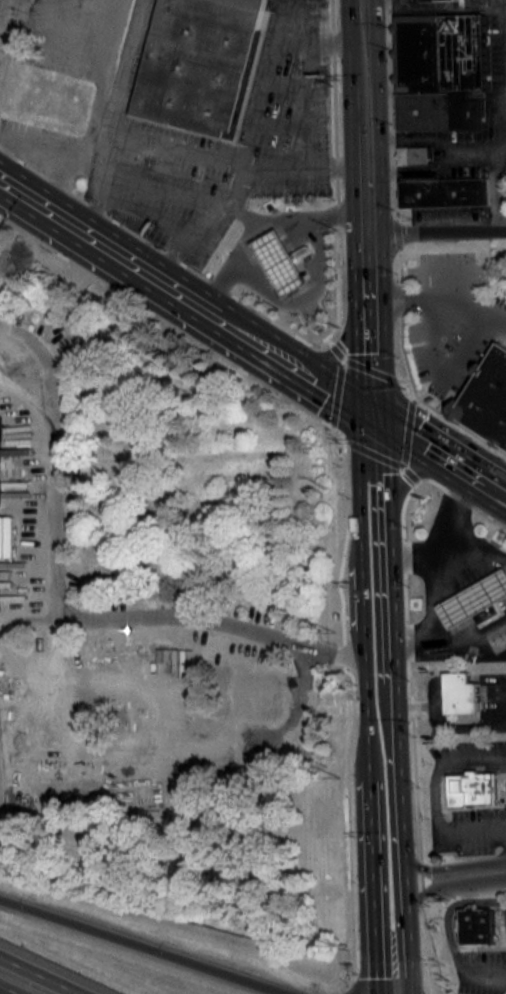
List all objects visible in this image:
building: (422, 0)
road: (96, 4)
road: (433, 8)
road: (297, 10)
road: (335, 39)
building: (440, 52)
building: (202, 63)
road: (99, 80)
building: (437, 110)
road: (116, 116)
road: (49, 146)
road: (477, 146)
road: (447, 151)
building: (412, 154)
road: (278, 170)
road: (59, 179)
building: (445, 192)
road: (365, 206)
road: (336, 214)
road: (294, 220)
road: (436, 231)
road: (187, 235)
building: (300, 250)
building: (279, 262)
road: (186, 296)
road: (440, 300)
power tower: (339, 325)
road: (174, 326)
building: (488, 397)
traffic signals: (372, 414)
road: (373, 434)
road: (439, 456)
road: (52, 459)
road: (409, 476)
power tower: (330, 485)
road: (343, 546)
building: (473, 599)
building: (485, 613)
road: (212, 619)
building: (459, 692)
road: (363, 706)
road: (432, 706)
road: (388, 708)
building: (470, 787)
road: (433, 801)
road: (347, 817)
road: (473, 873)
road: (439, 879)
building: (475, 925)
power tower: (340, 946)
road: (148, 947)
road: (40, 975)
road: (389, 976)
road: (487, 977)
road: (350, 987)
road: (11, 988)

